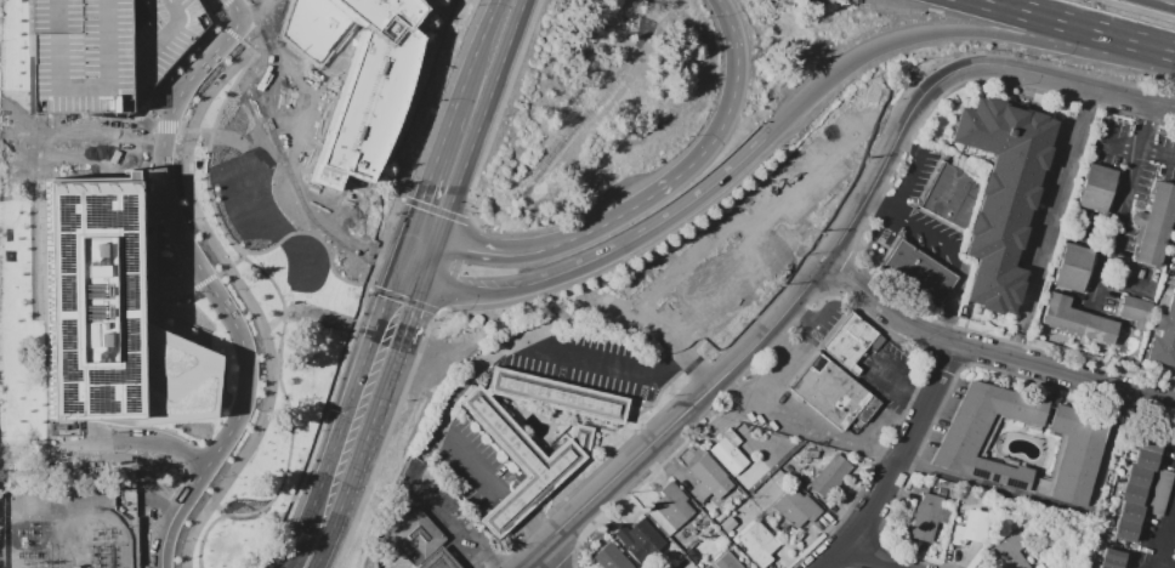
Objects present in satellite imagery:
road: (238, 4)
road: (1074, 24)
road: (950, 33)
road: (1170, 50)
building: (104, 51)
parking lot: (104, 51)
road: (483, 52)
road: (511, 57)
building: (368, 90)
road: (1111, 93)
traffic signals: (771, 142)
road: (1135, 148)
road: (442, 171)
road: (467, 180)
road: (1069, 182)
building: (1096, 187)
road: (655, 191)
building: (1001, 194)
building: (953, 195)
road: (1119, 205)
building: (350, 210)
building: (1154, 225)
traffic signals: (419, 235)
road: (432, 240)
traffic signals: (447, 245)
road: (946, 250)
road: (614, 254)
road: (410, 257)
road: (438, 267)
building: (1072, 267)
building: (919, 276)
traffic signals: (403, 280)
road: (212, 283)
road: (416, 285)
traffic signals: (430, 290)
building: (719, 290)
building: (90, 301)
road: (796, 302)
building: (1136, 311)
building: (1074, 319)
building: (1164, 336)
building: (852, 343)
road: (409, 345)
road: (526, 350)
road: (994, 352)
building: (171, 379)
building: (556, 396)
building: (834, 396)
road: (345, 424)
building: (186, 428)
building: (986, 432)
building: (581, 437)
building: (730, 451)
building: (1073, 454)
road: (367, 456)
road: (895, 459)
building: (518, 461)
building: (131, 466)
building: (755, 468)
building: (830, 476)
building: (708, 478)
building: (1135, 488)
road: (1052, 504)
building: (671, 505)
building: (796, 507)
building: (927, 517)
building: (972, 527)
power substation: (73, 530)
road: (1164, 534)
road: (462, 535)
building: (641, 535)
building: (416, 538)
road: (333, 540)
building: (757, 544)
building: (1010, 550)
road: (461, 551)
road: (880, 556)
building: (609, 557)
building: (1111, 558)
building: (437, 561)
gas station: (437, 561)
building: (723, 561)
road: (447, 563)
road: (539, 564)
road: (385, 566)
road: (1165, 566)
road: (283, 567)

